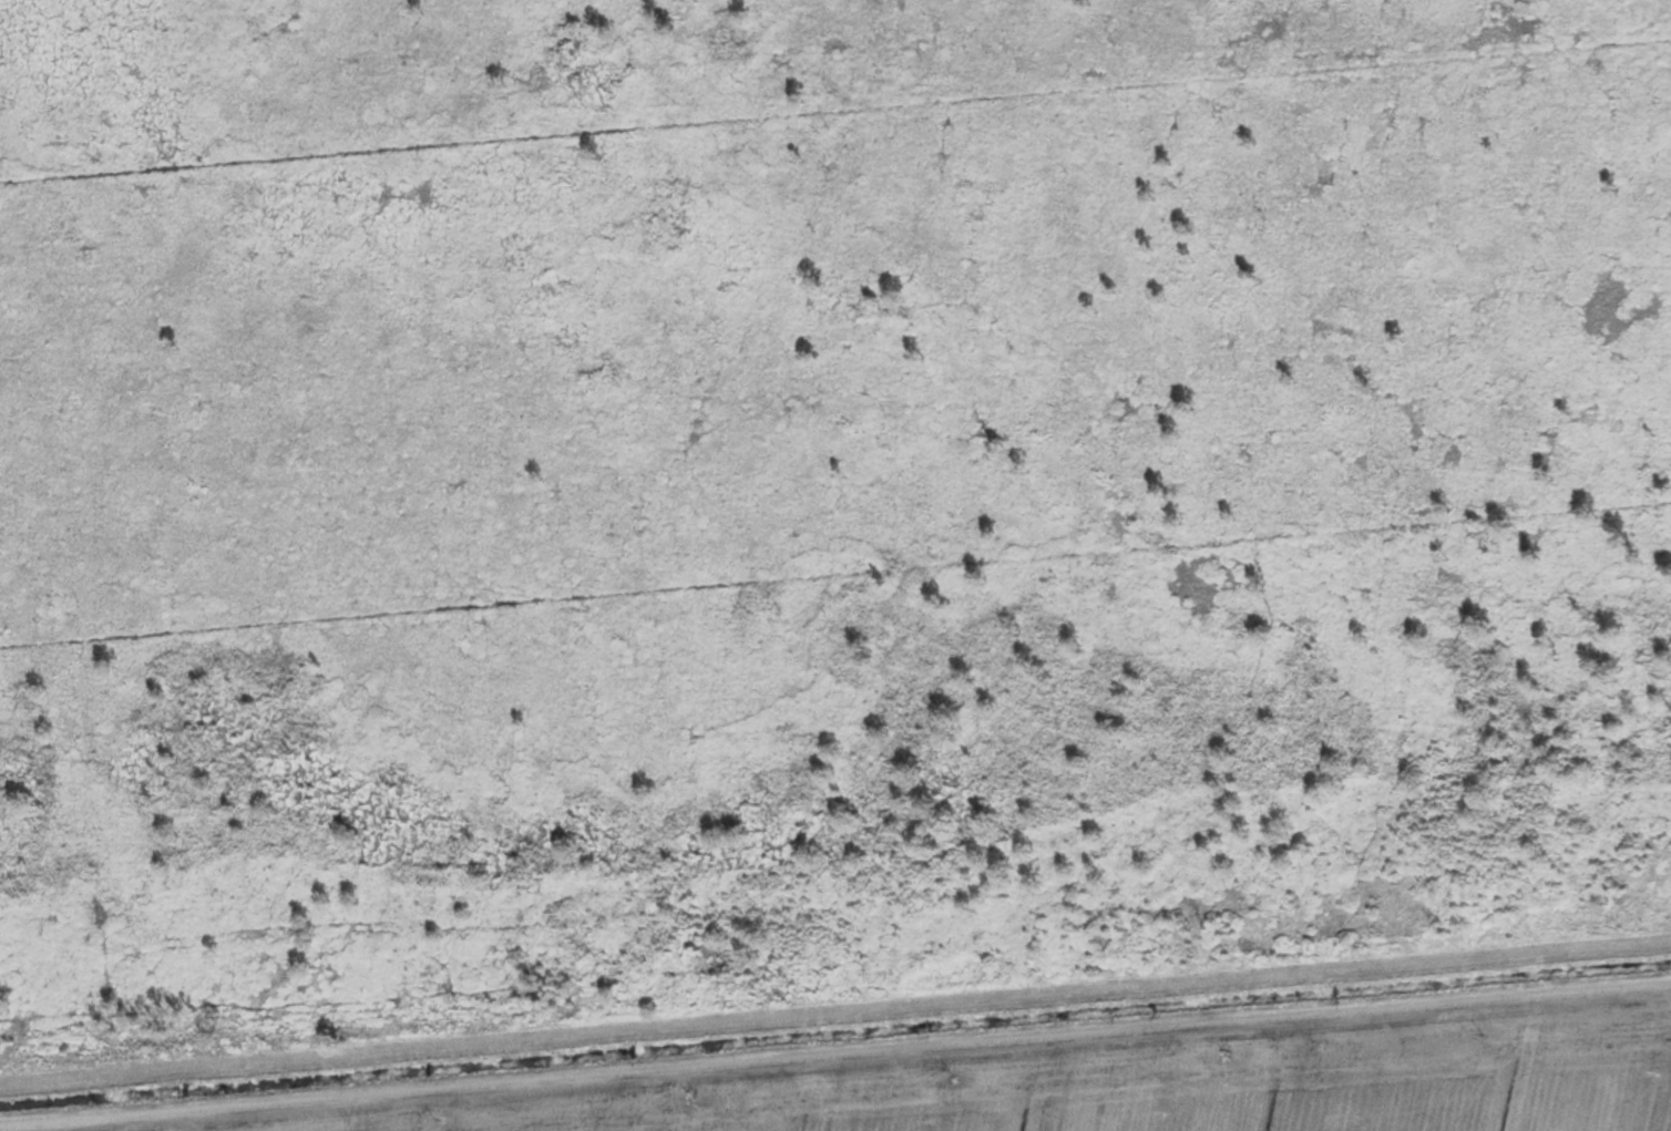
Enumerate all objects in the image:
road: (834, 1014)
road: (835, 1055)

